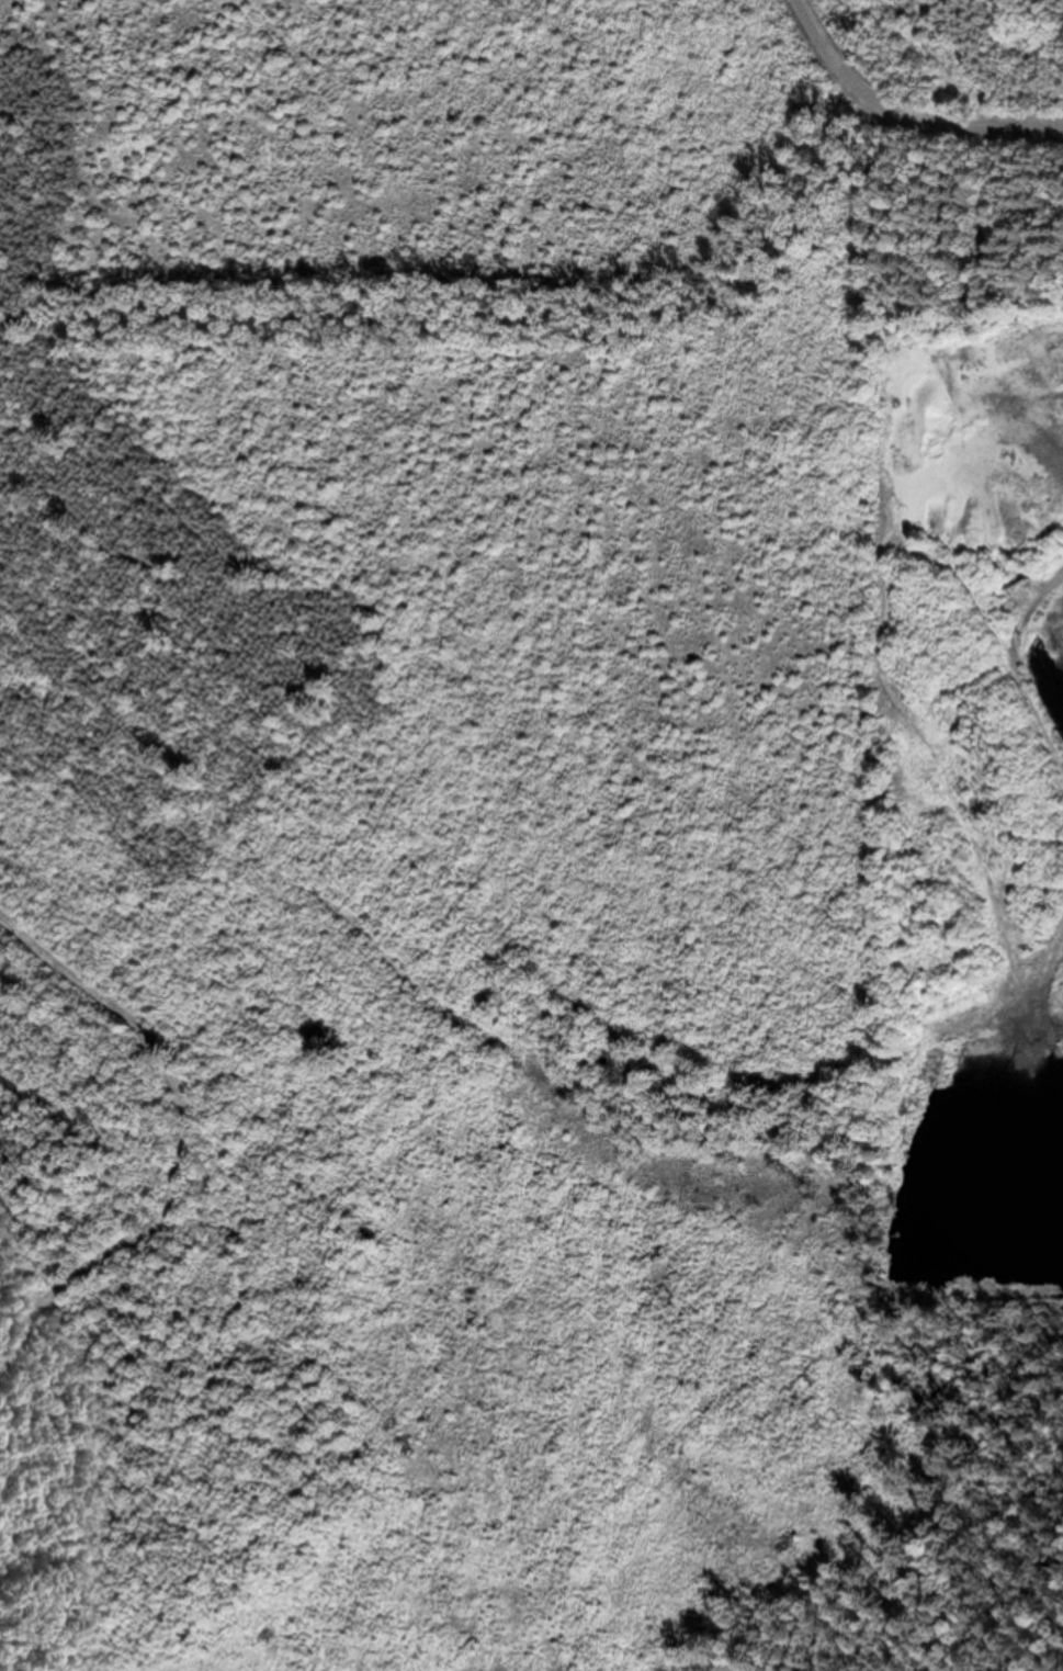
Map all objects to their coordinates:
road: (904, 112)

